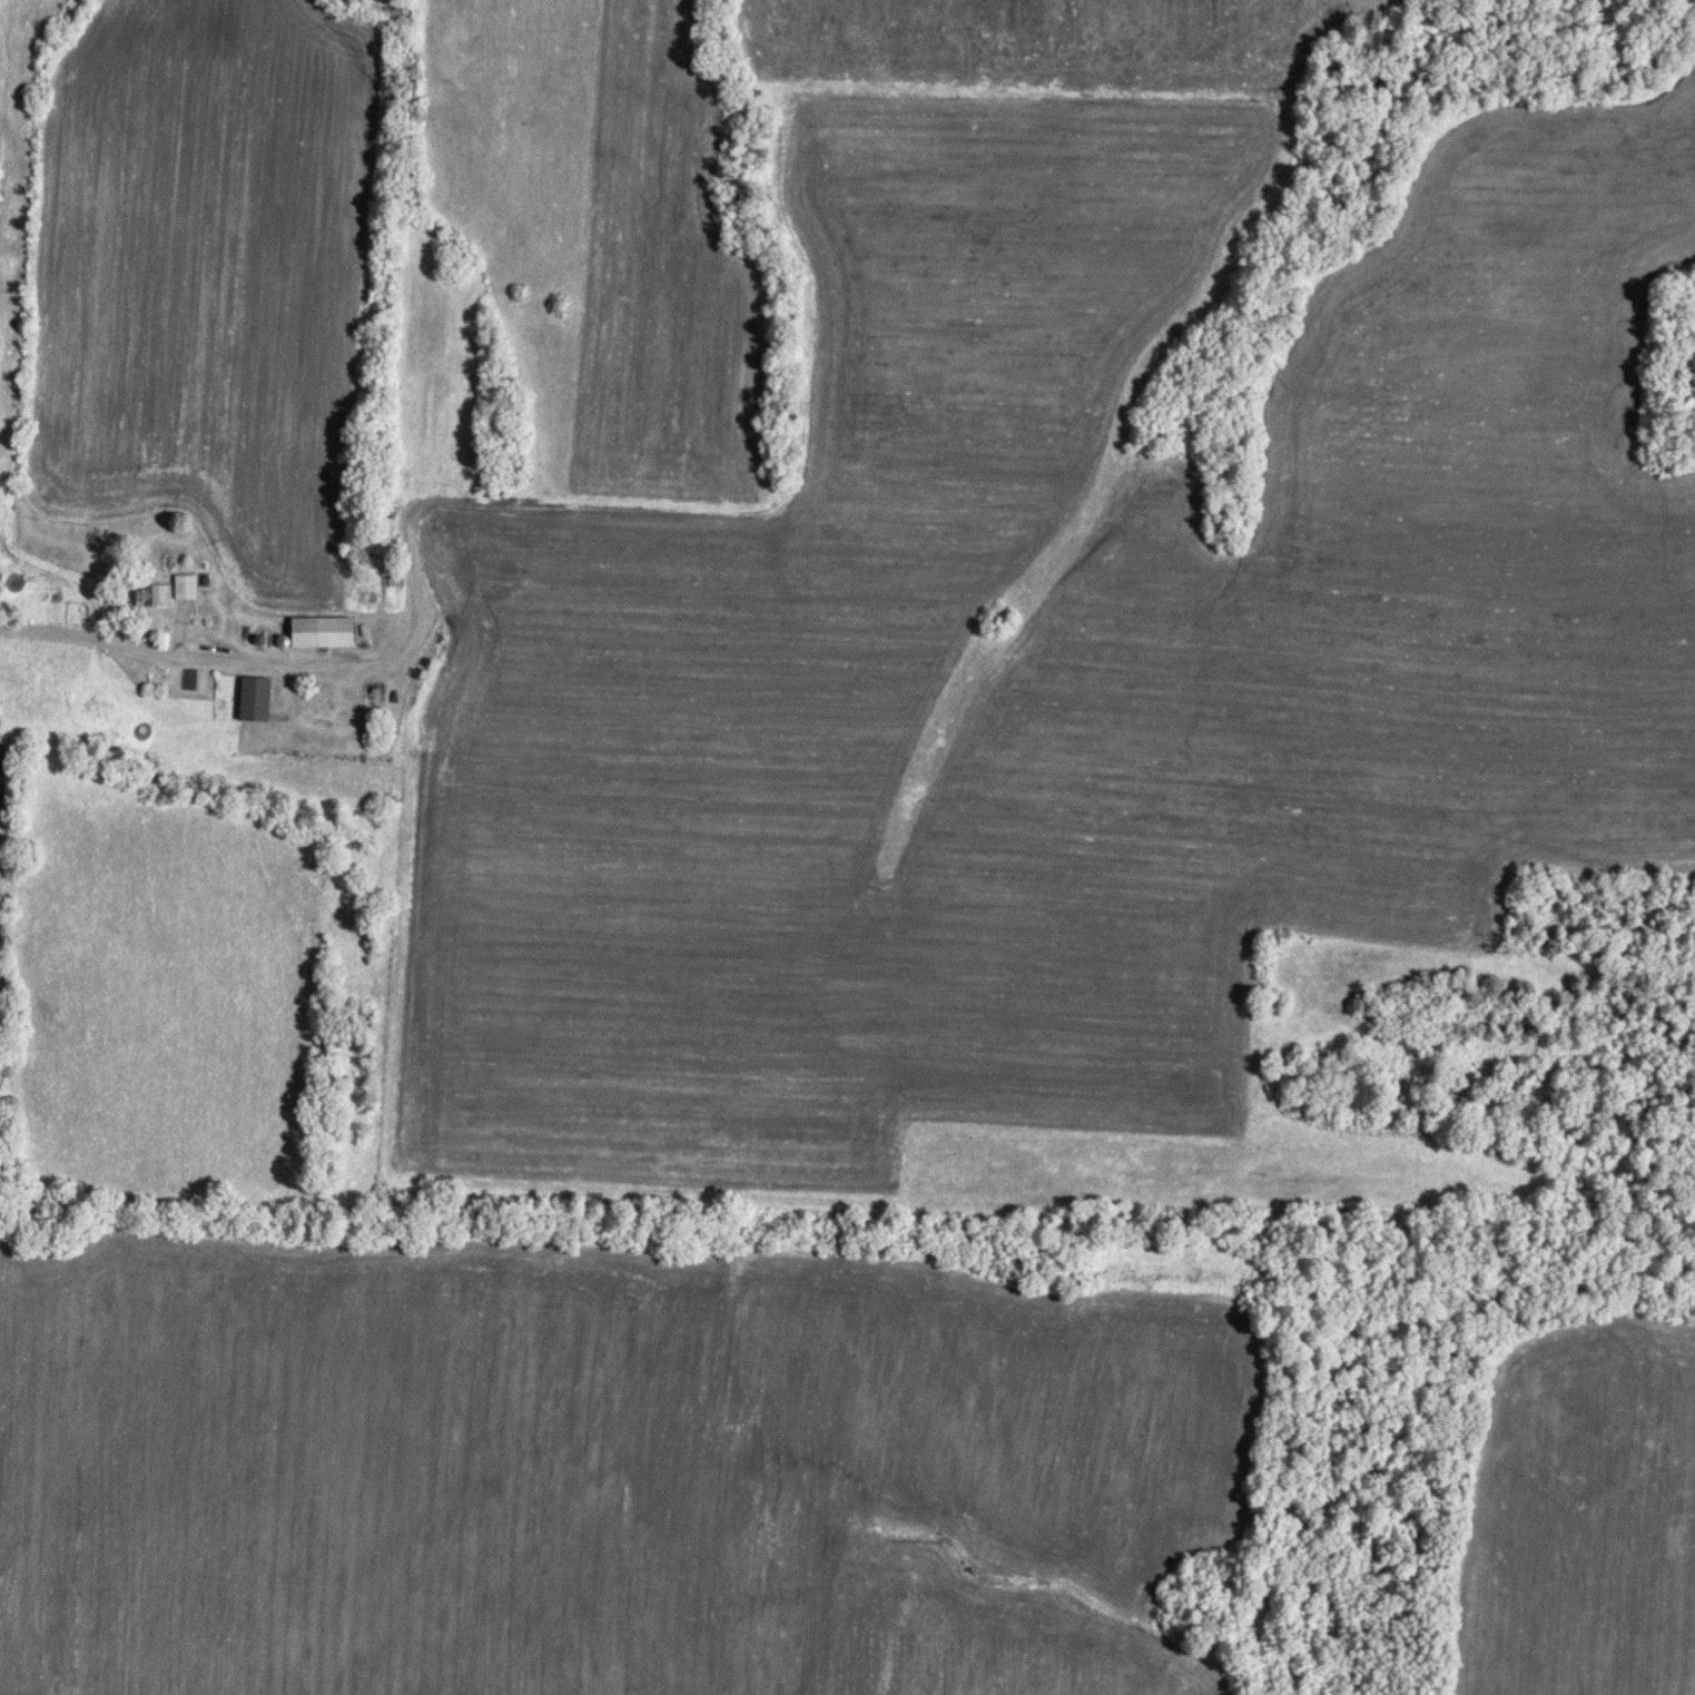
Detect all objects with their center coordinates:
building: (187, 583)
building: (155, 592)
building: (327, 629)
road: (106, 640)
road: (262, 667)
building: (258, 696)

